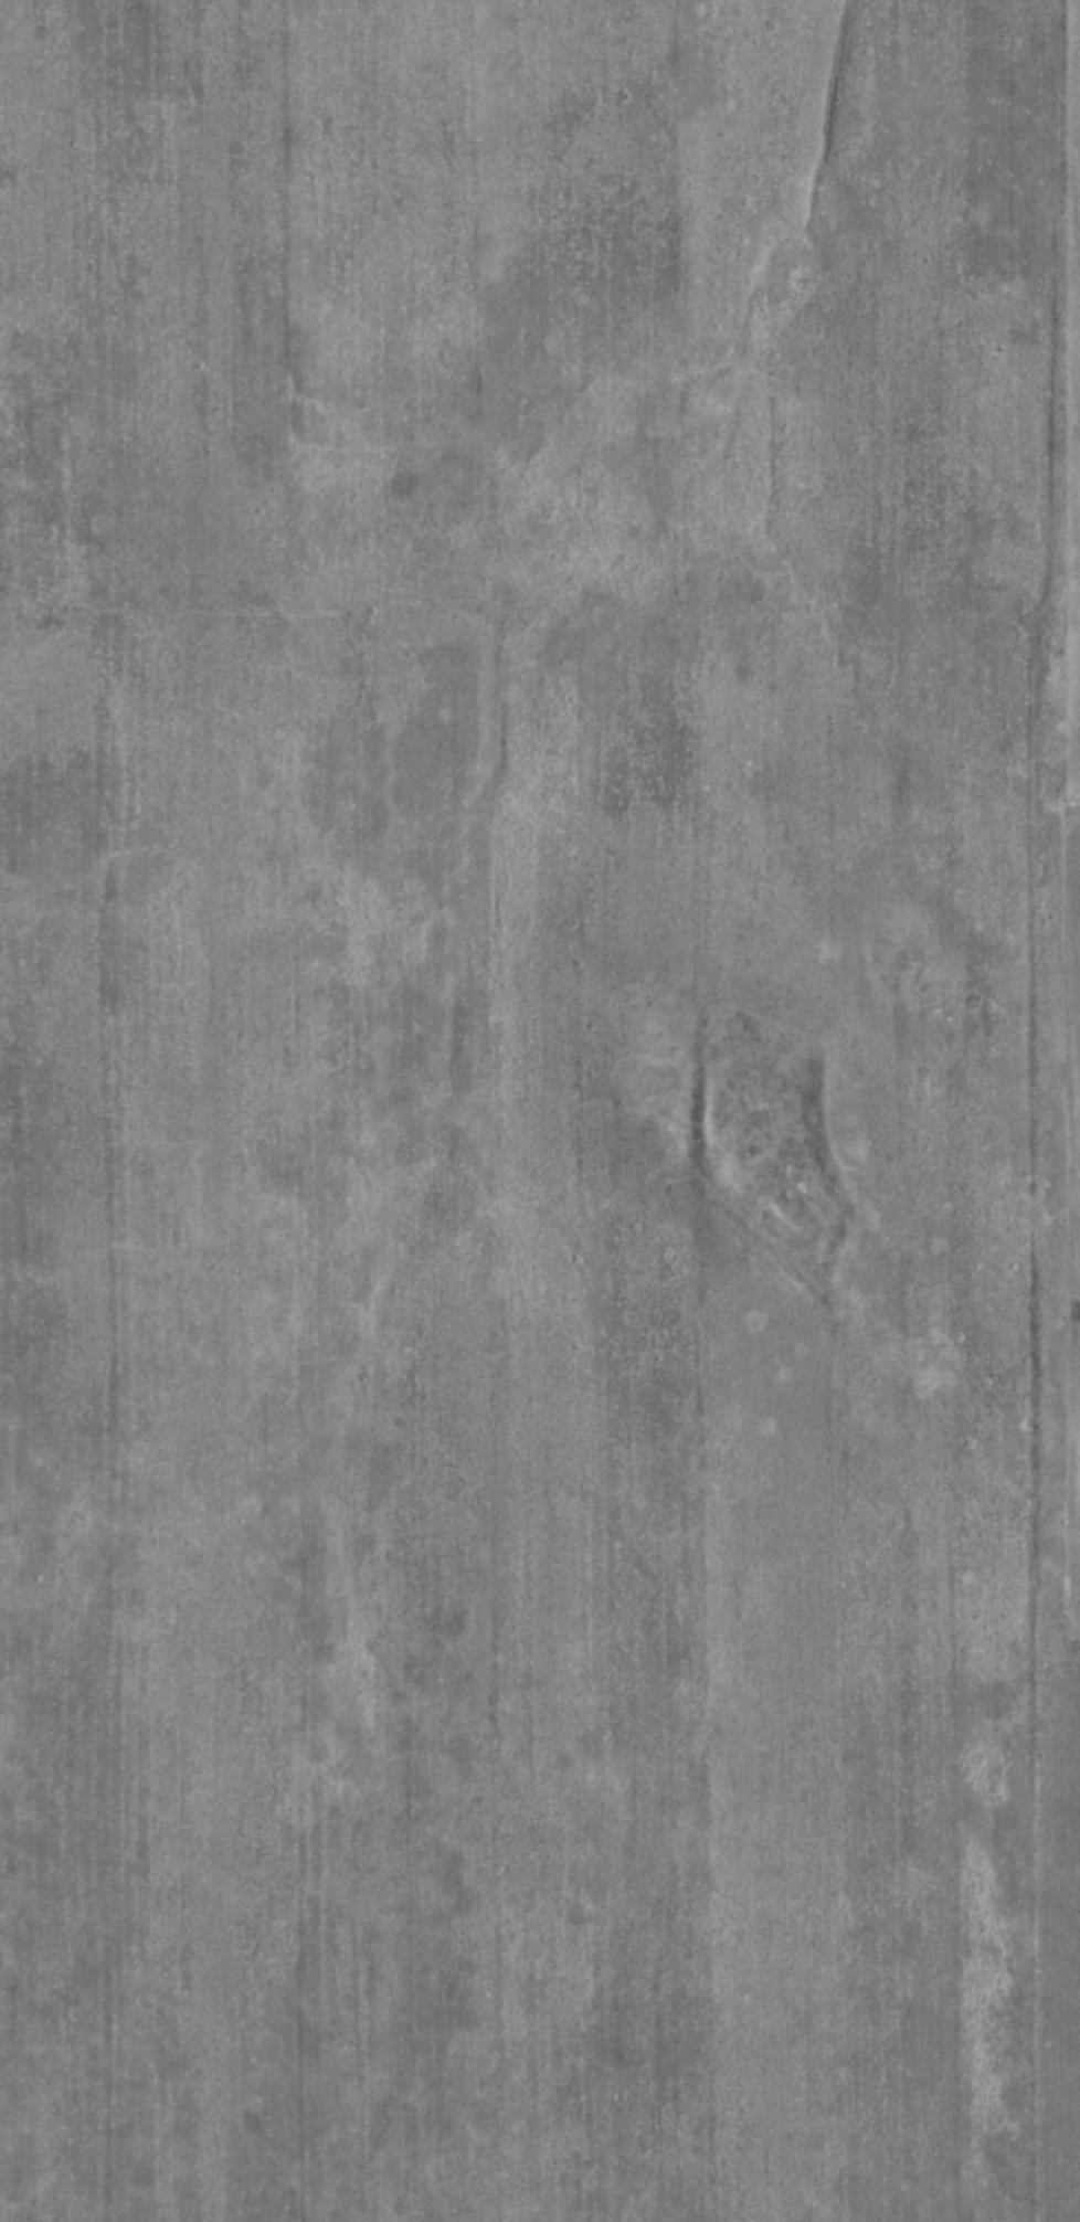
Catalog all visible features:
road: (1052, 1111)

